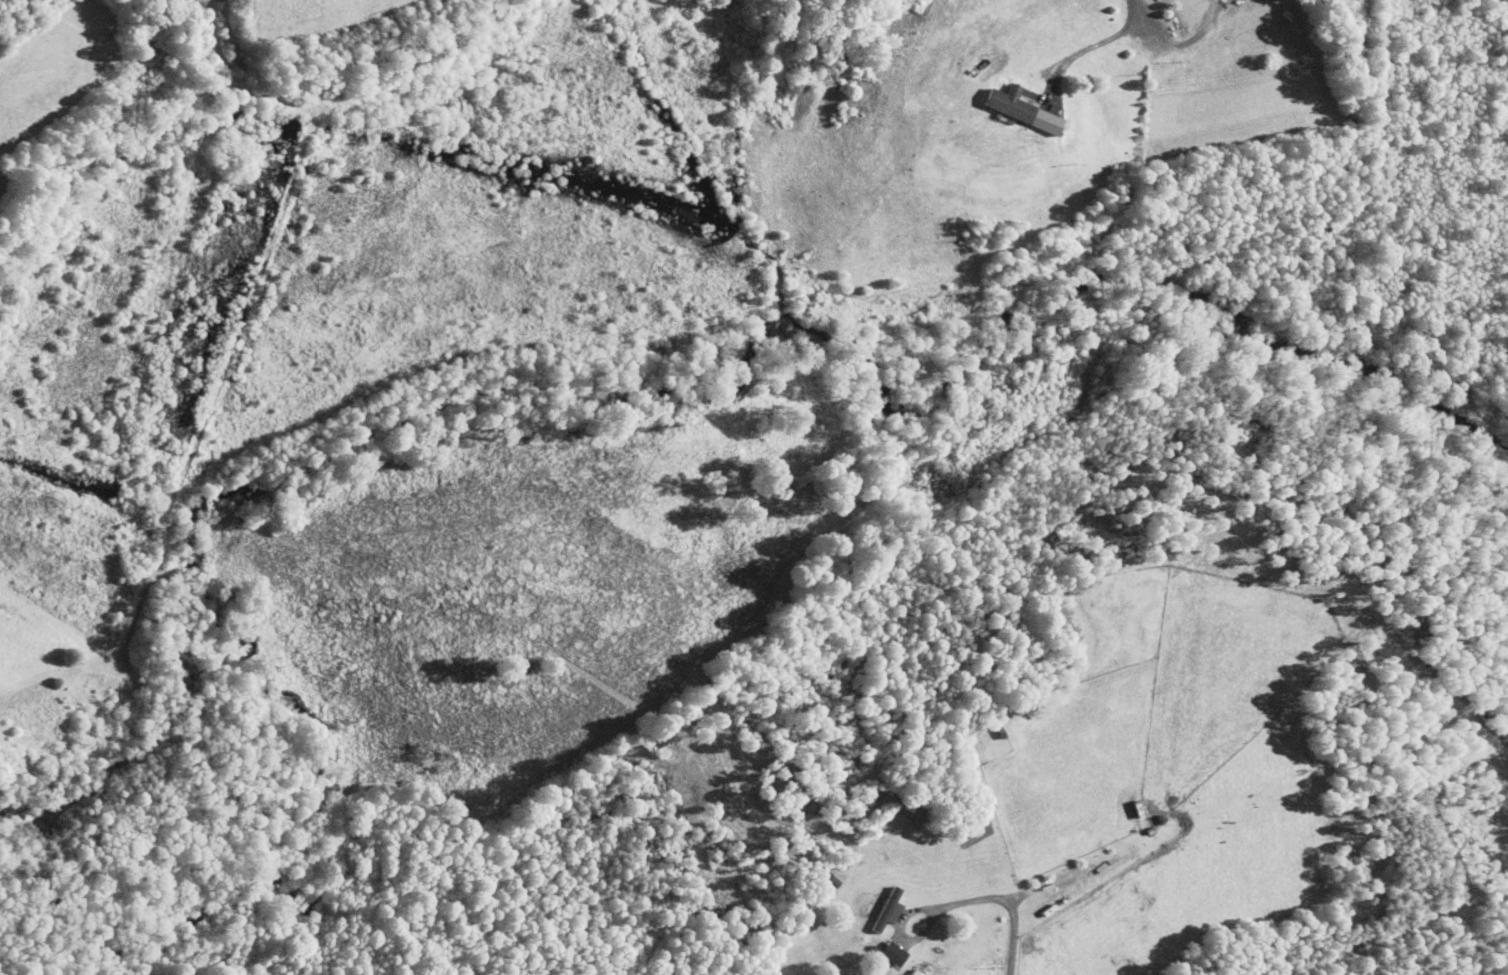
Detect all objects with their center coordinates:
road: (1141, 11)
road: (1185, 42)
road: (1094, 43)
building: (1010, 103)
building: (821, 875)
road: (1001, 900)
building: (874, 902)
building: (881, 947)
building: (905, 970)

